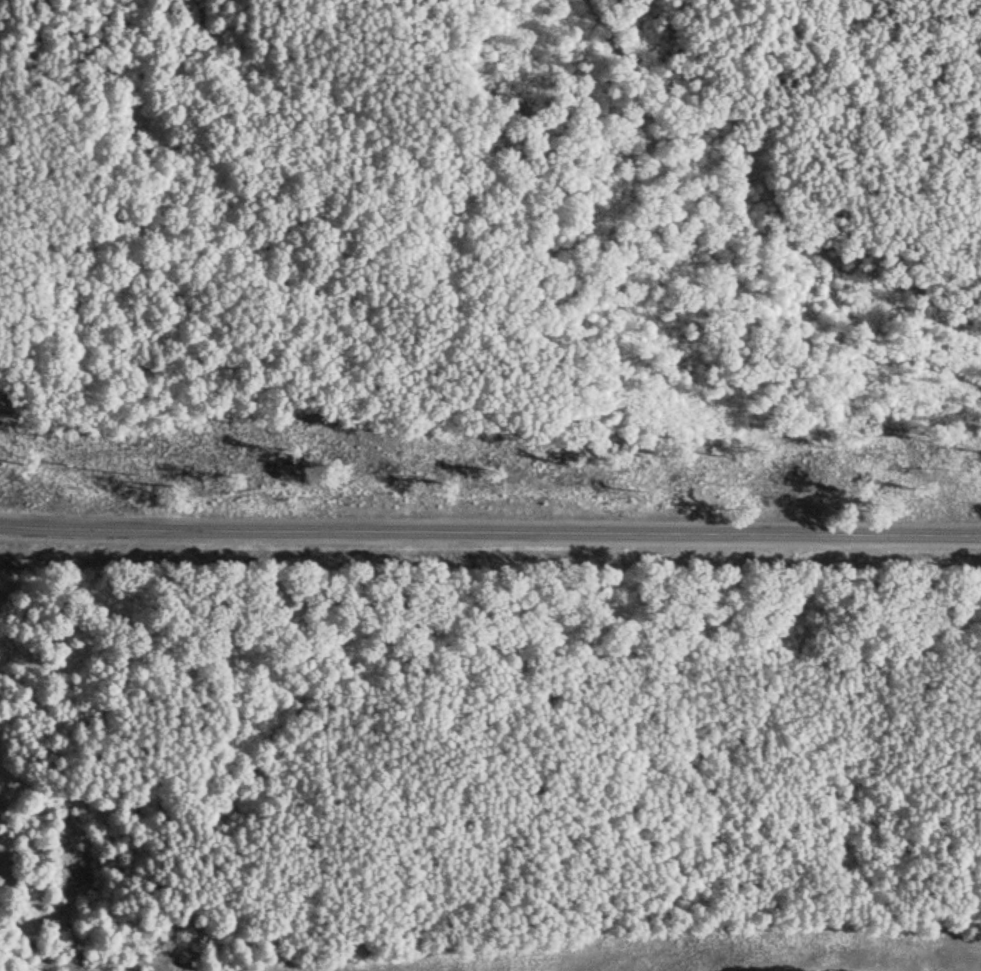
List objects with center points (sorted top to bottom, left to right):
road: (490, 531)
road: (31, 951)

